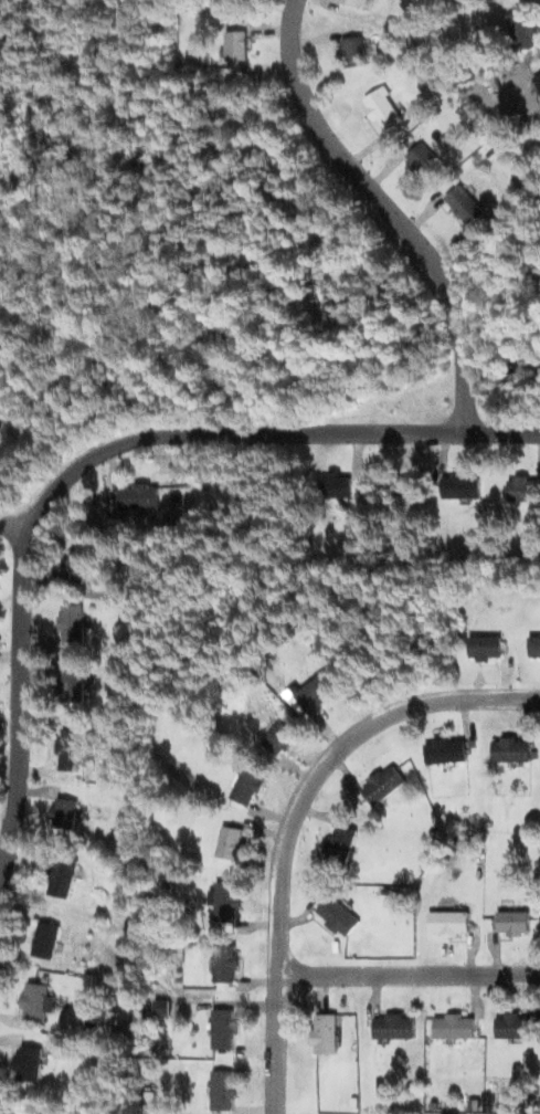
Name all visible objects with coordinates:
building: (523, 31)
building: (242, 44)
building: (357, 51)
building: (538, 82)
building: (387, 111)
building: (426, 162)
building: (467, 206)
road: (388, 211)
road: (91, 458)
building: (340, 486)
building: (399, 487)
building: (464, 487)
building: (525, 488)
building: (141, 497)
road: (15, 528)
building: (77, 567)
building: (73, 626)
building: (487, 648)
building: (536, 648)
building: (73, 687)
building: (318, 693)
building: (280, 738)
building: (73, 750)
building: (445, 750)
building: (511, 750)
building: (384, 785)
building: (248, 787)
building: (66, 813)
road: (294, 819)
building: (234, 842)
building: (341, 845)
building: (64, 876)
building: (231, 902)
building: (340, 916)
building: (448, 923)
building: (512, 923)
building: (50, 940)
building: (230, 964)
road: (409, 975)
building: (39, 1002)
building: (394, 1027)
building: (455, 1027)
building: (513, 1027)
building: (226, 1030)
building: (326, 1034)
building: (31, 1063)
building: (223, 1091)

